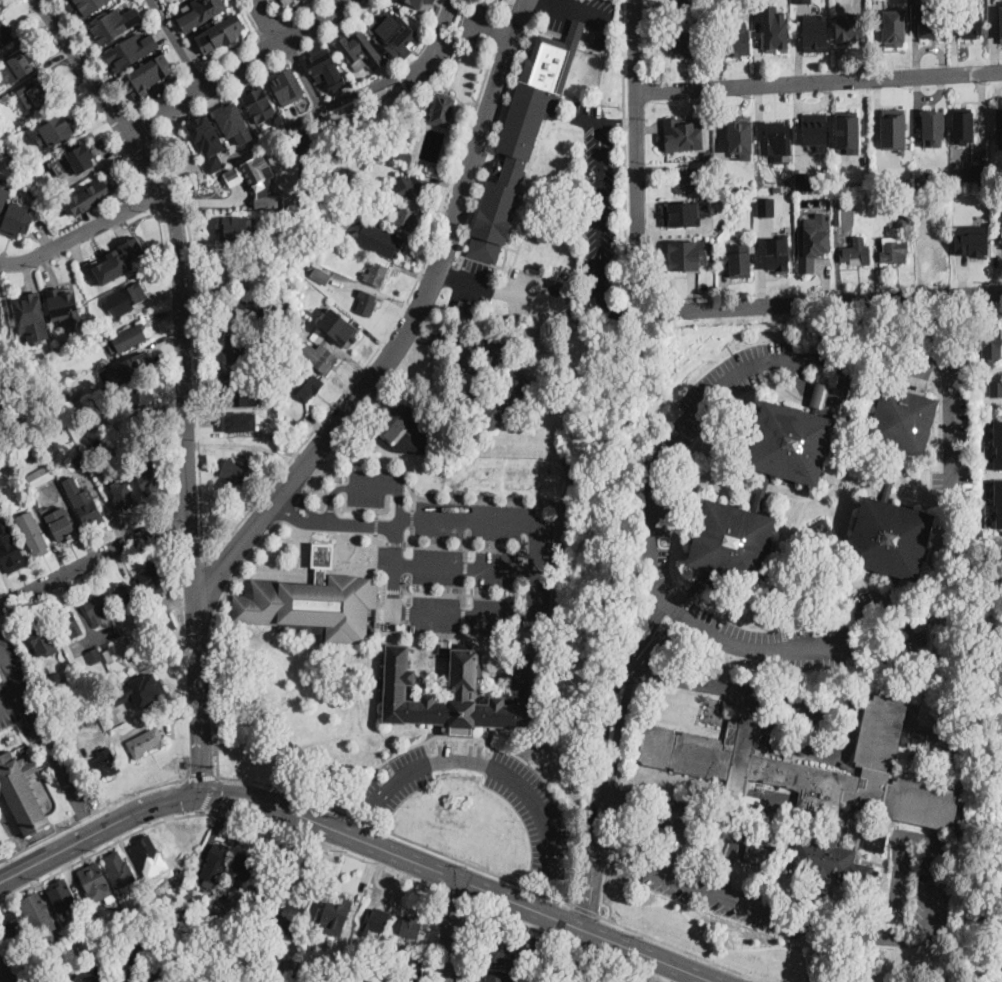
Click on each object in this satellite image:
road: (543, 0)
building: (287, 1)
building: (431, 1)
building: (683, 1)
building: (807, 1)
building: (417, 2)
building: (88, 6)
road: (509, 7)
road: (278, 10)
road: (573, 11)
building: (800, 11)
building: (200, 12)
road: (307, 13)
parking lot: (474, 20)
building: (116, 22)
road: (267, 22)
building: (1000, 22)
road: (491, 25)
building: (929, 25)
building: (775, 26)
building: (848, 26)
building: (968, 26)
building: (894, 27)
road: (335, 28)
road: (271, 29)
road: (500, 29)
building: (221, 33)
road: (299, 33)
building: (5, 34)
building: (395, 34)
building: (812, 36)
building: (734, 40)
building: (683, 43)
road: (177, 44)
road: (251, 45)
building: (131, 49)
building: (360, 49)
road: (292, 54)
road: (91, 55)
building: (22, 64)
road: (239, 68)
building: (326, 68)
building: (146, 75)
road: (302, 75)
road: (197, 76)
road: (452, 76)
road: (819, 81)
building: (287, 86)
road: (351, 94)
building: (37, 95)
road: (158, 98)
road: (215, 100)
building: (259, 103)
building: (442, 109)
building: (1000, 115)
road: (617, 121)
building: (234, 122)
building: (966, 125)
road: (136, 126)
building: (933, 127)
building: (55, 129)
building: (815, 130)
building: (892, 130)
building: (683, 132)
building: (848, 132)
building: (740, 134)
building: (206, 135)
building: (523, 137)
building: (774, 137)
building: (709, 154)
road: (624, 155)
building: (404, 156)
road: (637, 156)
building: (685, 158)
building: (81, 159)
building: (979, 161)
building: (360, 173)
building: (803, 179)
building: (976, 179)
building: (257, 180)
building: (866, 181)
building: (243, 182)
building: (690, 182)
building: (412, 187)
building: (736, 190)
building: (777, 190)
building: (100, 191)
building: (3, 194)
road: (599, 204)
building: (766, 206)
building: (684, 212)
building: (65, 216)
building: (843, 216)
building: (922, 216)
building: (405, 218)
building: (17, 219)
building: (902, 220)
building: (231, 229)
road: (81, 232)
road: (178, 238)
building: (379, 239)
building: (813, 239)
building: (932, 242)
building: (972, 243)
building: (893, 250)
building: (856, 252)
building: (686, 254)
building: (777, 254)
building: (737, 259)
building: (113, 266)
building: (228, 274)
building: (376, 274)
building: (321, 275)
parking lot: (473, 281)
road: (491, 289)
parking lot: (533, 293)
building: (134, 294)
road: (821, 302)
building: (329, 303)
building: (366, 303)
building: (283, 304)
building: (64, 306)
building: (243, 308)
road: (613, 308)
building: (467, 309)
building: (498, 310)
building: (31, 316)
building: (1, 317)
building: (299, 322)
building: (100, 325)
building: (339, 327)
road: (929, 327)
road: (407, 331)
building: (129, 336)
building: (995, 340)
road: (457, 342)
building: (234, 350)
building: (320, 353)
building: (1000, 354)
building: (275, 359)
building: (129, 369)
building: (308, 384)
road: (846, 387)
building: (996, 388)
building: (820, 391)
building: (241, 393)
building: (140, 397)
building: (497, 399)
road: (953, 414)
parking lot: (953, 417)
building: (397, 420)
building: (241, 421)
building: (1, 436)
building: (288, 438)
parking lot: (416, 440)
road: (384, 441)
building: (997, 443)
building: (81, 465)
road: (322, 465)
building: (234, 470)
building: (41, 476)
building: (149, 481)
building: (807, 481)
road: (365, 486)
road: (412, 493)
building: (123, 495)
road: (258, 497)
building: (83, 501)
building: (997, 502)
road: (292, 504)
road: (551, 504)
building: (949, 504)
road: (365, 508)
road: (376, 512)
road: (412, 516)
road: (336, 520)
road: (375, 524)
building: (62, 525)
building: (821, 532)
road: (410, 533)
building: (32, 534)
road: (380, 540)
road: (394, 541)
road: (466, 542)
road: (464, 545)
building: (10, 549)
building: (320, 553)
road: (319, 554)
parking lot: (452, 556)
road: (362, 560)
road: (94, 561)
road: (465, 564)
road: (193, 565)
road: (464, 566)
road: (322, 569)
building: (320, 574)
building: (154, 577)
road: (383, 583)
road: (391, 588)
road: (463, 589)
road: (462, 592)
building: (122, 595)
road: (408, 596)
building: (308, 604)
building: (97, 609)
road: (408, 611)
road: (381, 613)
road: (462, 613)
building: (164, 614)
road: (532, 619)
road: (690, 621)
building: (69, 624)
road: (380, 626)
road: (406, 626)
road: (461, 628)
road: (465, 635)
road: (214, 637)
building: (42, 639)
road: (323, 648)
building: (165, 653)
building: (95, 656)
building: (109, 656)
building: (132, 657)
building: (126, 660)
road: (9, 668)
building: (57, 682)
building: (102, 686)
building: (146, 689)
road: (9, 690)
building: (96, 690)
building: (465, 693)
road: (377, 694)
building: (95, 702)
road: (201, 704)
road: (818, 707)
building: (83, 709)
building: (932, 720)
parking lot: (36, 721)
road: (627, 732)
building: (146, 742)
building: (905, 742)
road: (498, 745)
road: (48, 747)
building: (107, 763)
road: (614, 765)
road: (496, 766)
traffic signals: (204, 771)
road: (202, 776)
building: (813, 788)
building: (22, 792)
road: (210, 794)
traffic signals: (223, 794)
road: (617, 794)
traffic signals: (181, 798)
road: (100, 807)
road: (217, 812)
road: (677, 813)
road: (791, 813)
building: (775, 815)
parking lot: (661, 818)
road: (88, 819)
parking lot: (542, 820)
road: (366, 823)
road: (613, 823)
building: (774, 825)
road: (332, 828)
road: (99, 829)
road: (397, 834)
road: (918, 835)
road: (608, 852)
building: (148, 853)
building: (216, 861)
road: (729, 861)
building: (243, 865)
building: (119, 871)
building: (96, 884)
road: (386, 886)
building: (265, 889)
road: (361, 892)
road: (603, 893)
parking lot: (713, 894)
building: (62, 897)
road: (454, 898)
parking lot: (911, 899)
road: (545, 901)
road: (520, 904)
building: (293, 907)
road: (585, 909)
road: (766, 912)
building: (336, 913)
building: (38, 914)
building: (179, 914)
building: (374, 921)
building: (9, 924)
building: (108, 924)
building: (411, 927)
building: (111, 929)
road: (452, 929)
building: (219, 933)
building: (50, 938)
road: (567, 942)
building: (399, 946)
building: (141, 947)
building: (199, 947)
building: (250, 947)
road: (684, 949)
building: (502, 951)
building: (106, 955)
road: (647, 956)
road: (828, 958)
building: (373, 963)
building: (157, 966)
building: (288, 969)
building: (338, 969)
road: (6, 972)
building: (407, 972)
building: (81, 976)
building: (263, 976)
building: (496, 978)
building: (576, 979)
building: (107, 981)
building: (114, 981)
building: (279, 981)

